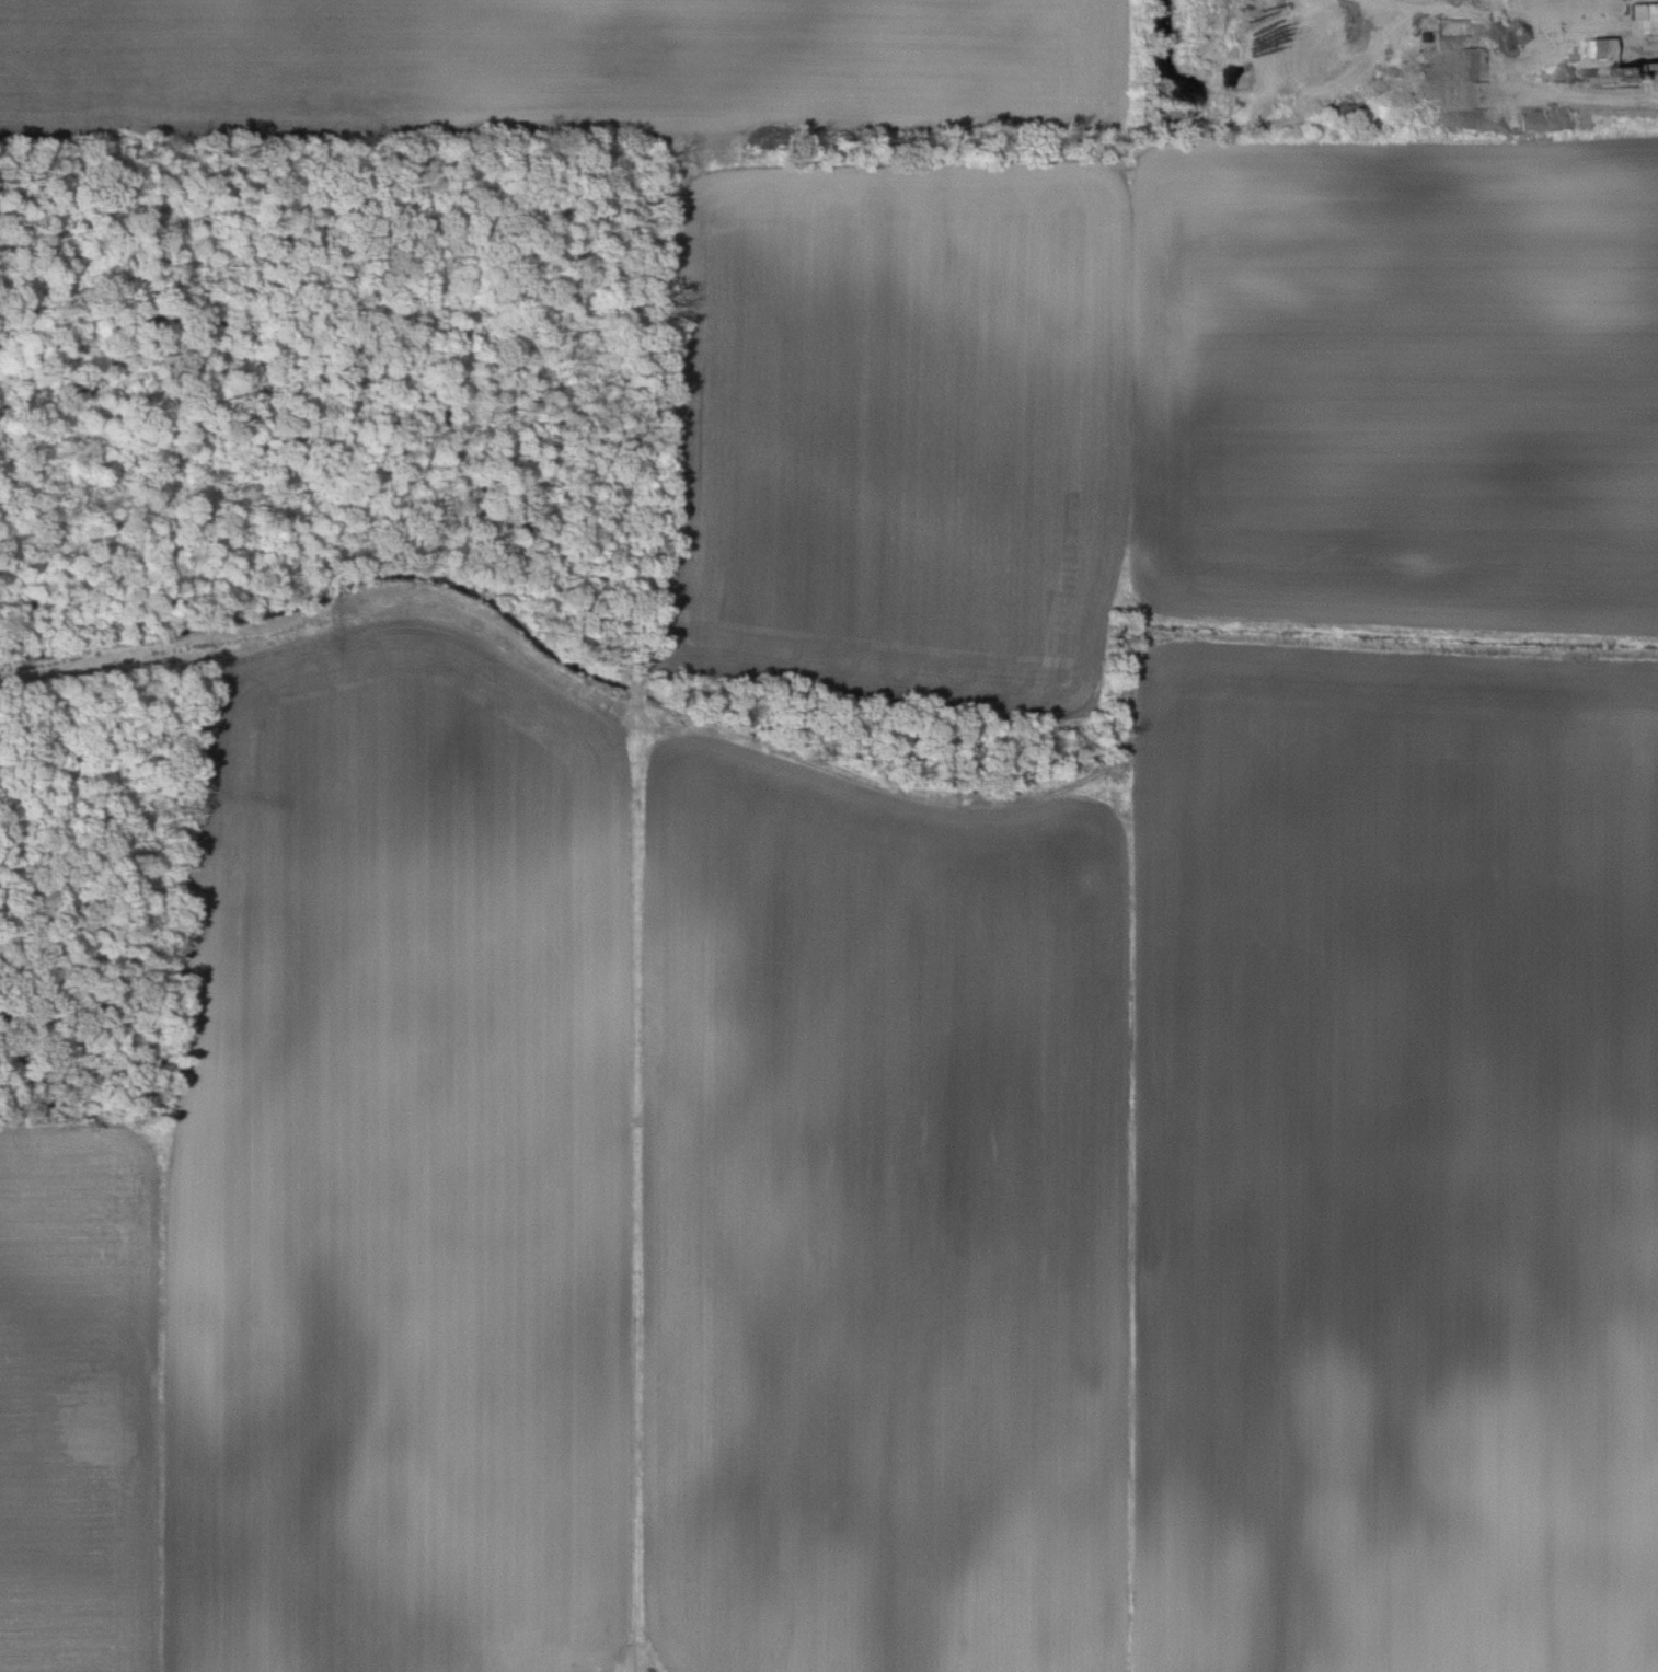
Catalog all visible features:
road: (1615, 7)
road: (1611, 15)
building: (1646, 19)
road: (1551, 35)
building: (1600, 49)

